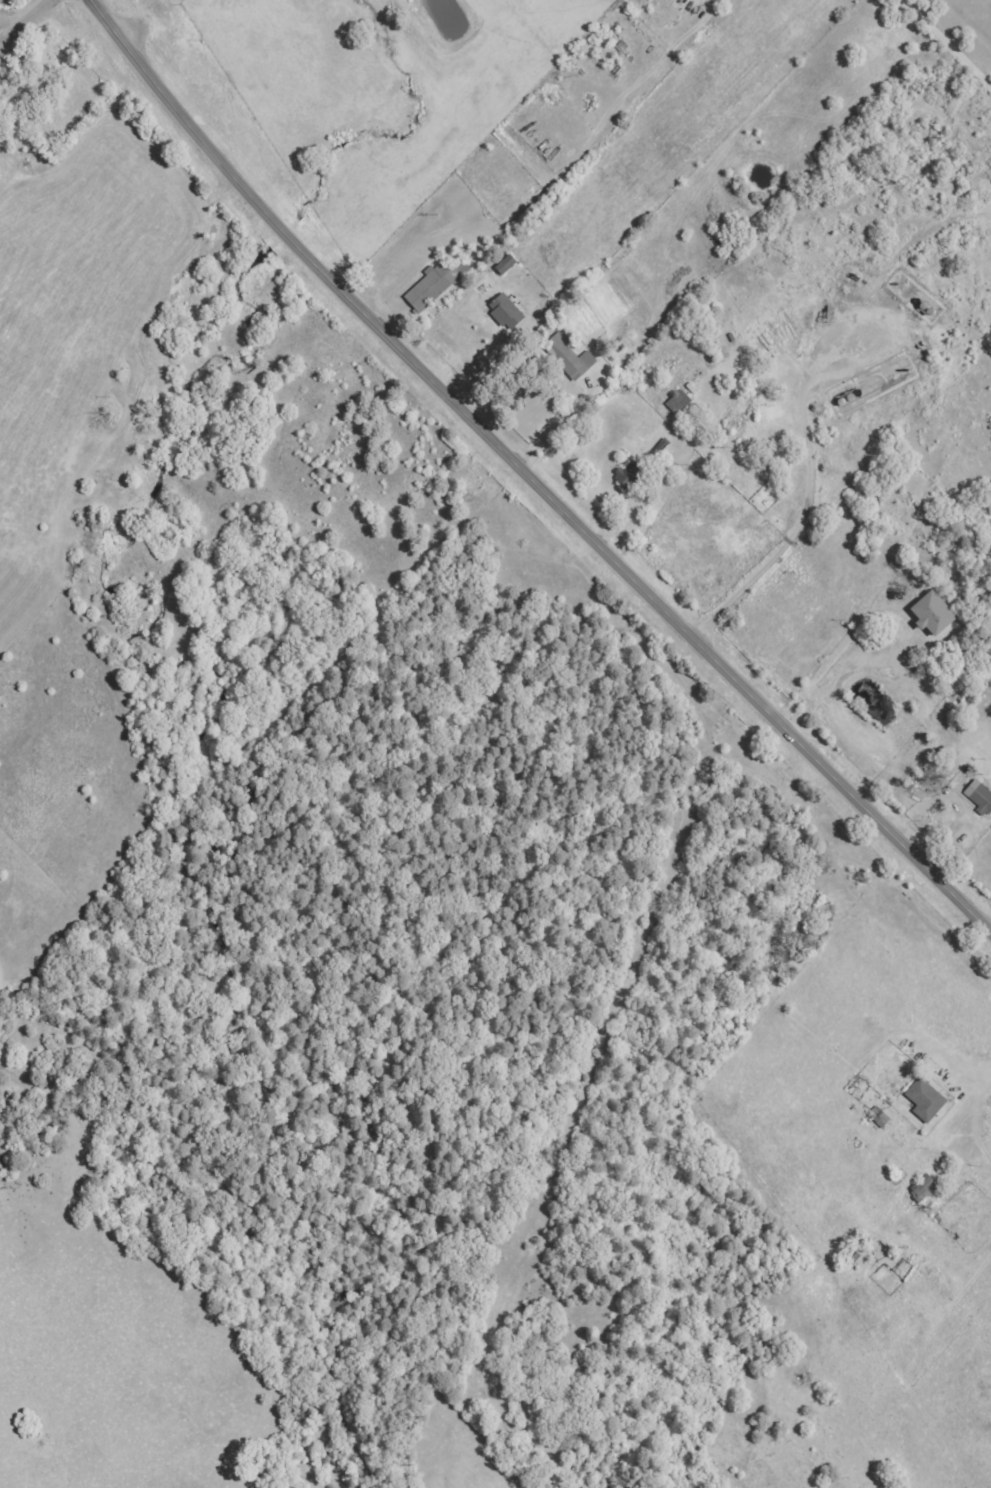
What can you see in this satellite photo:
road: (22, 21)
road: (946, 44)
building: (509, 264)
building: (432, 287)
building: (509, 312)
petroleum well: (822, 313)
building: (572, 355)
building: (677, 402)
road: (527, 477)
building: (927, 613)
building: (978, 796)
building: (928, 1099)
building: (926, 1185)

